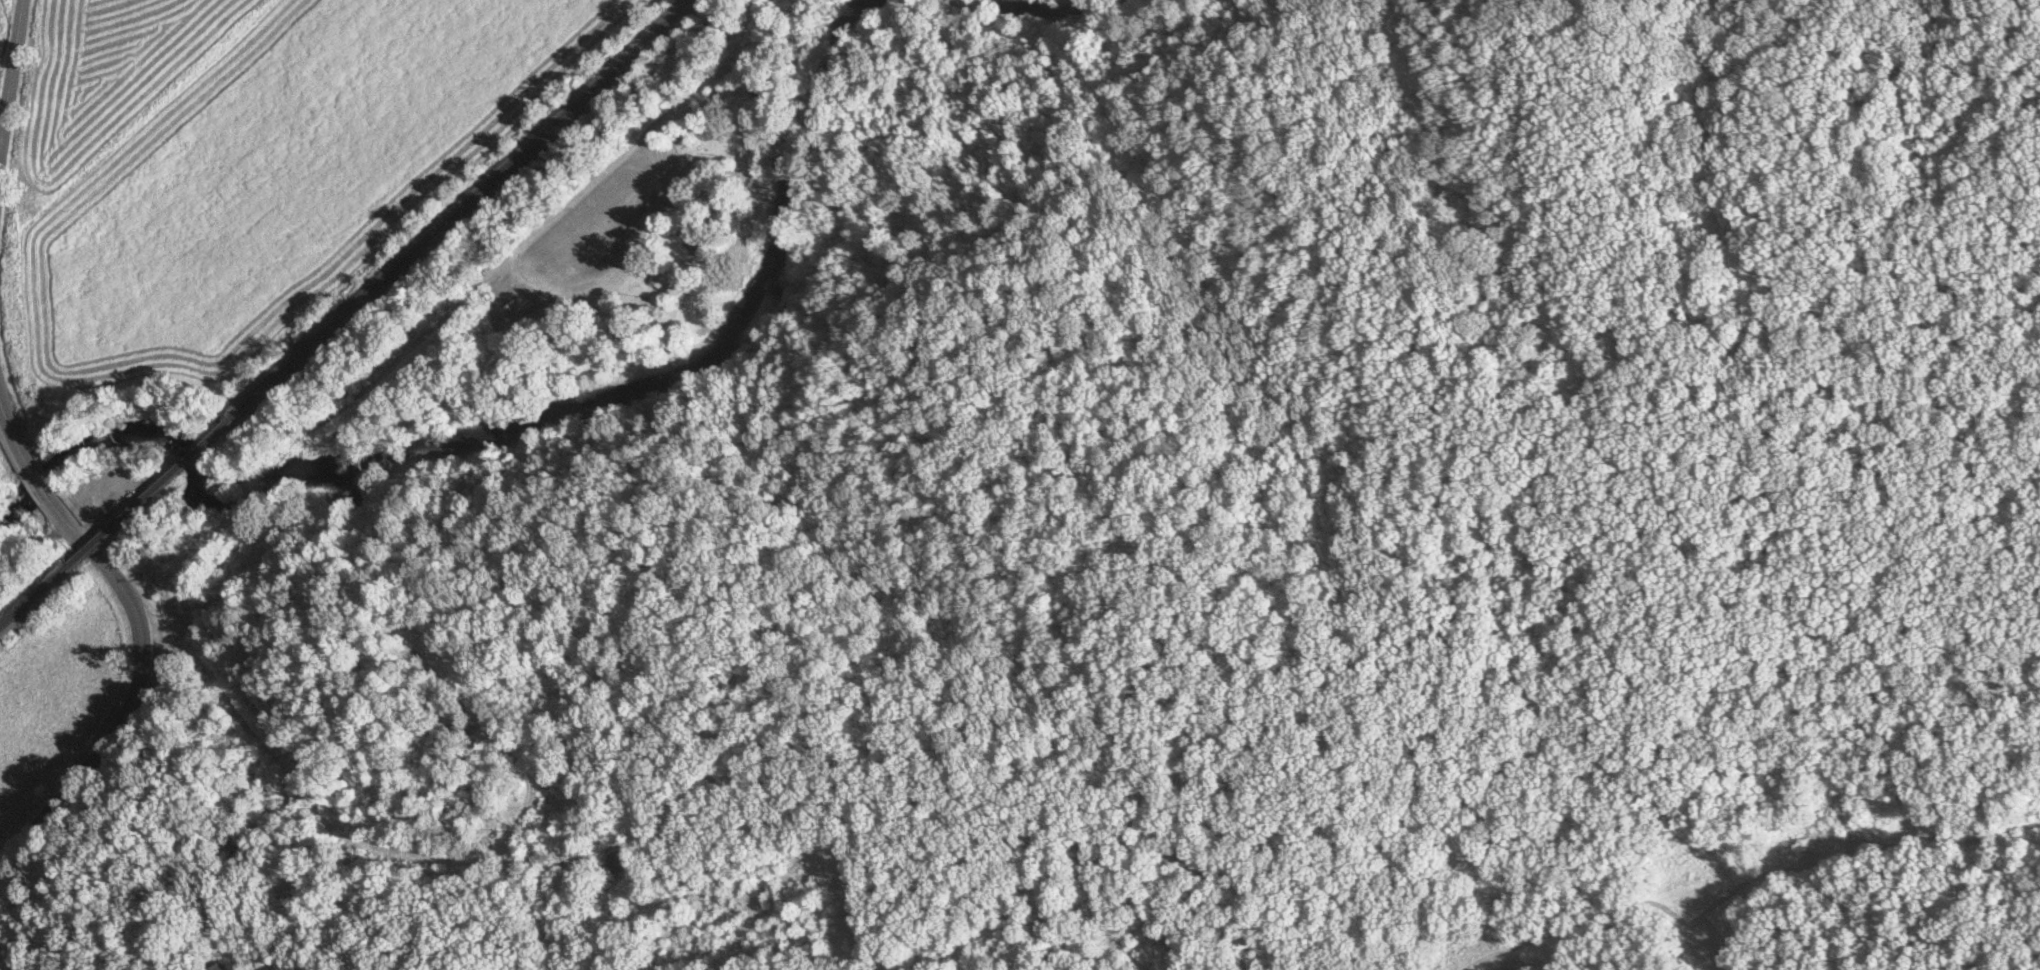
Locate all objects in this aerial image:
road: (6, 63)
railway: (470, 201)
road: (449, 307)
road: (12, 442)
road: (37, 486)
railway: (152, 491)
railway: (27, 604)
road: (132, 688)
road: (523, 792)
road: (232, 960)
road: (1, 964)

